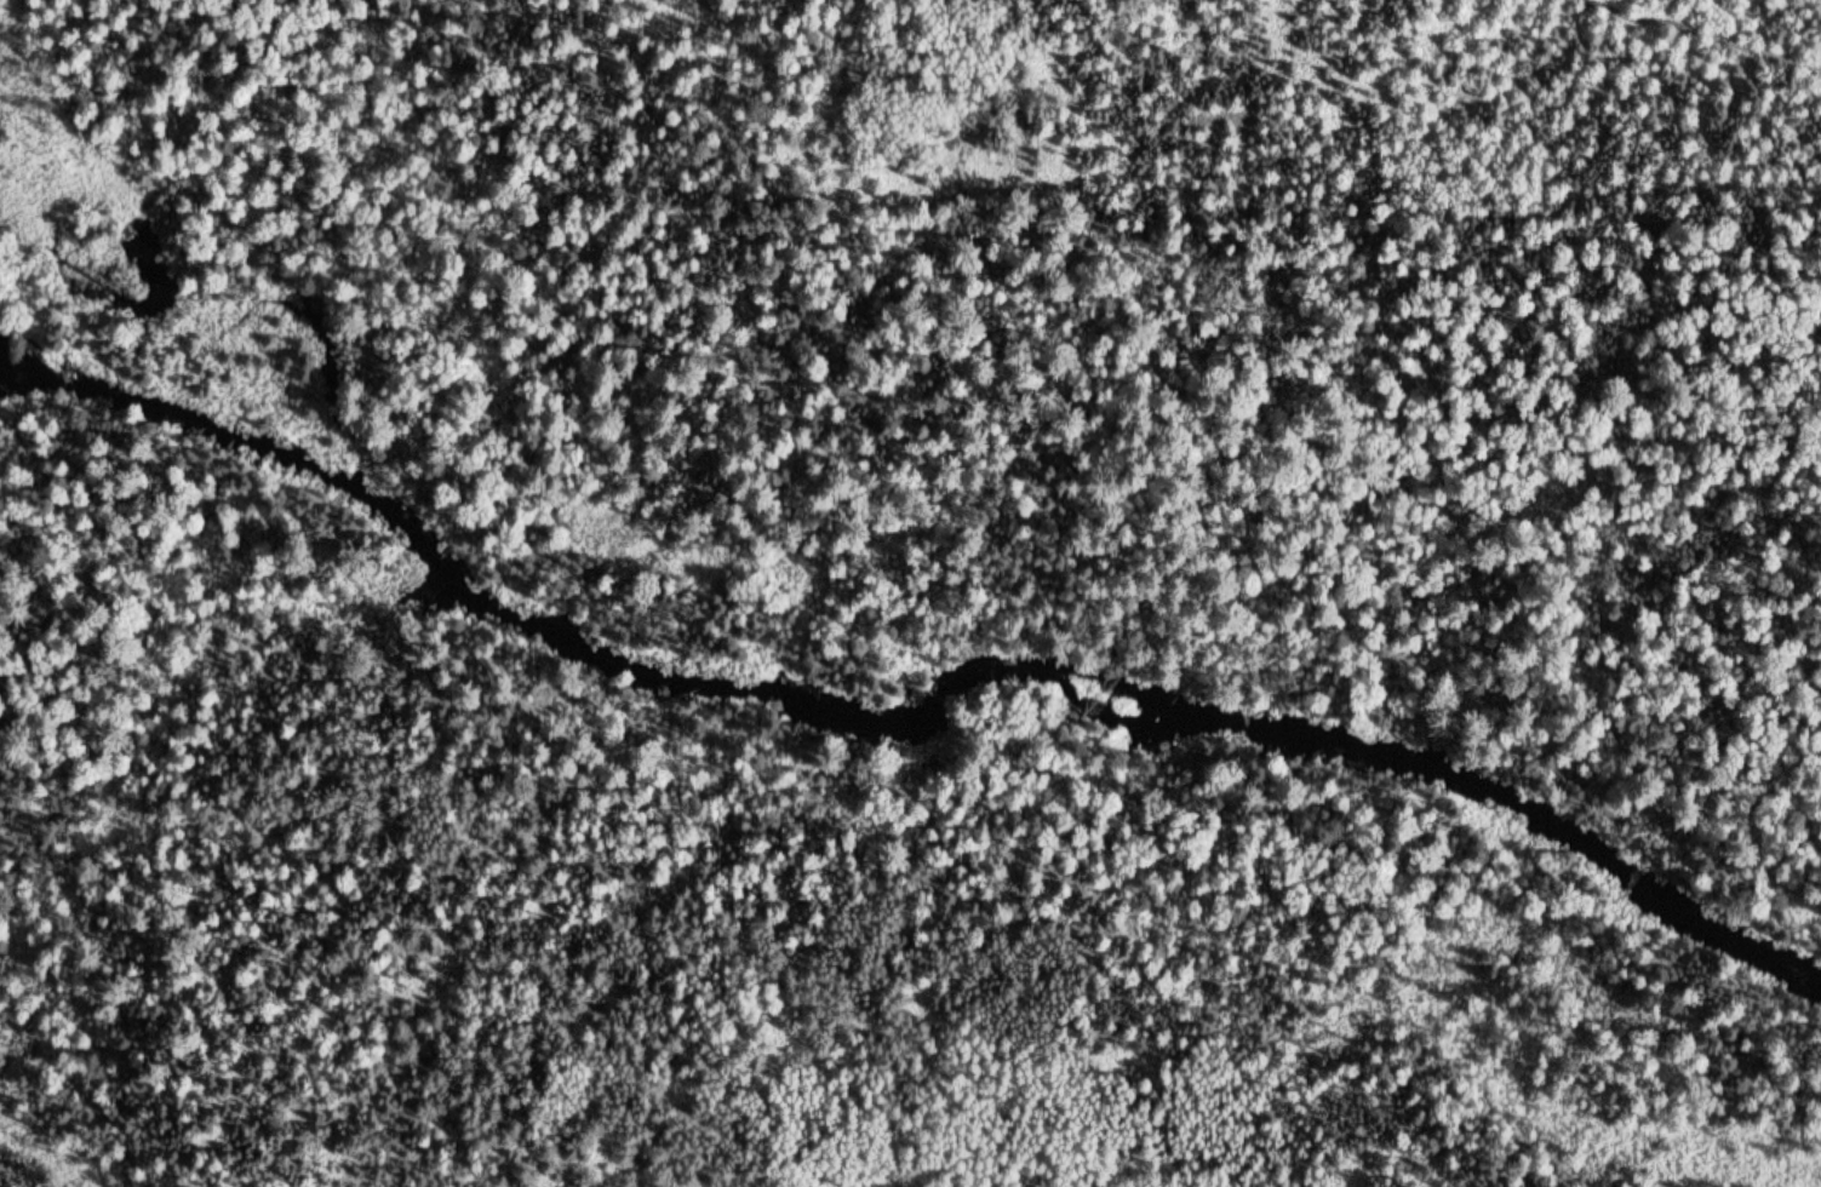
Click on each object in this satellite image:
road: (1232, 308)
river: (910, 692)

